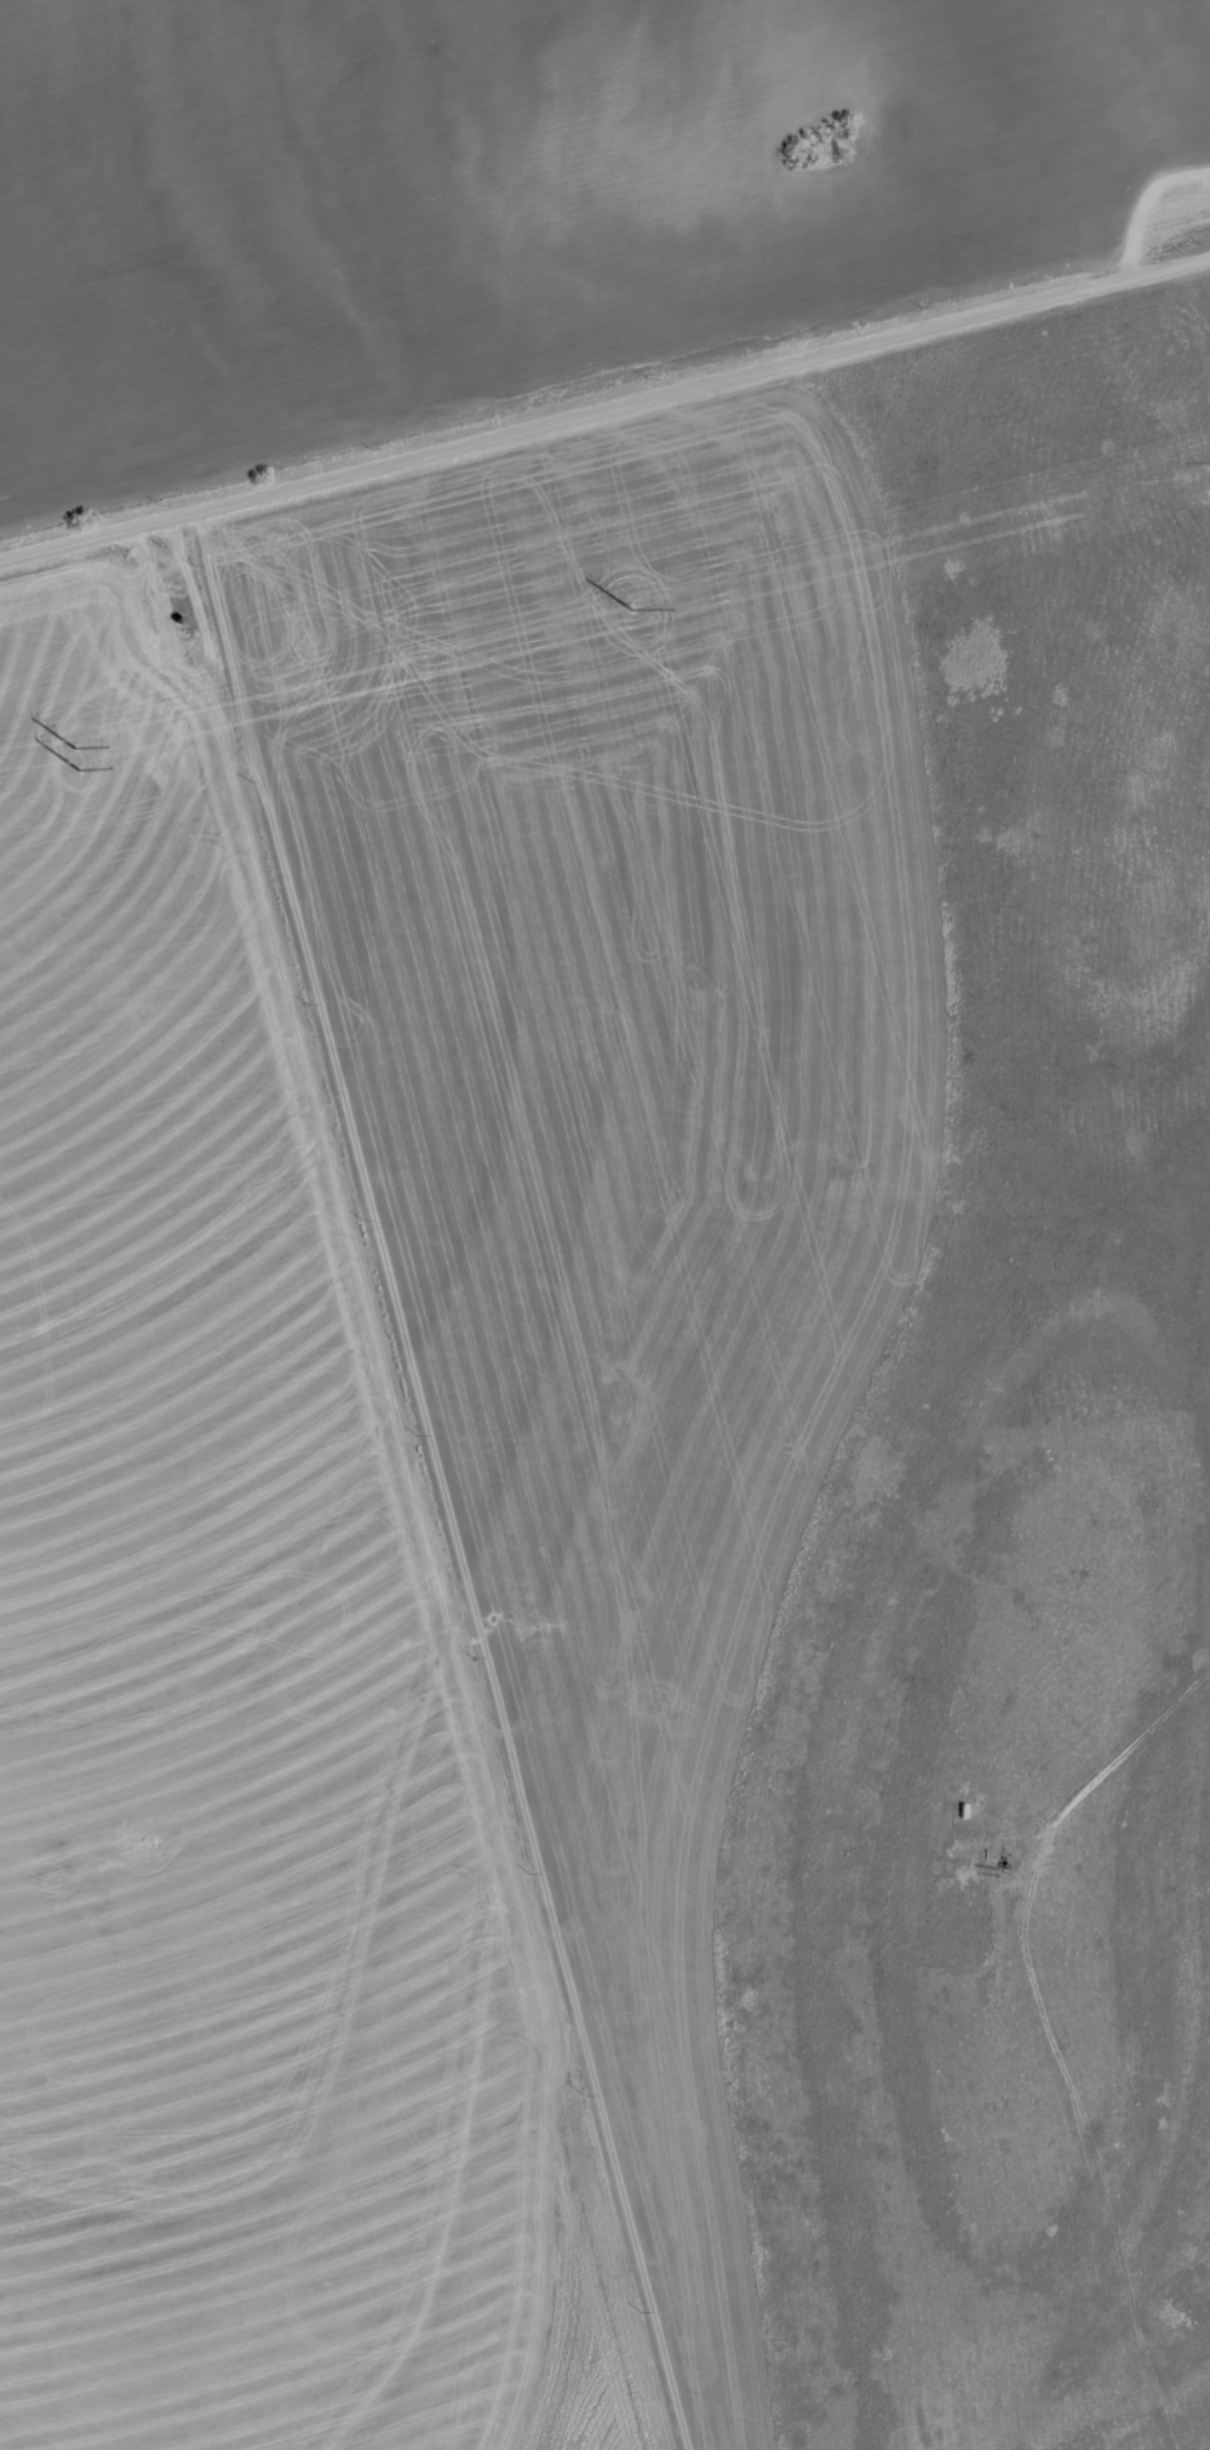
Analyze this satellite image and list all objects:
road: (604, 425)
power tower: (635, 611)
power tower: (80, 759)

